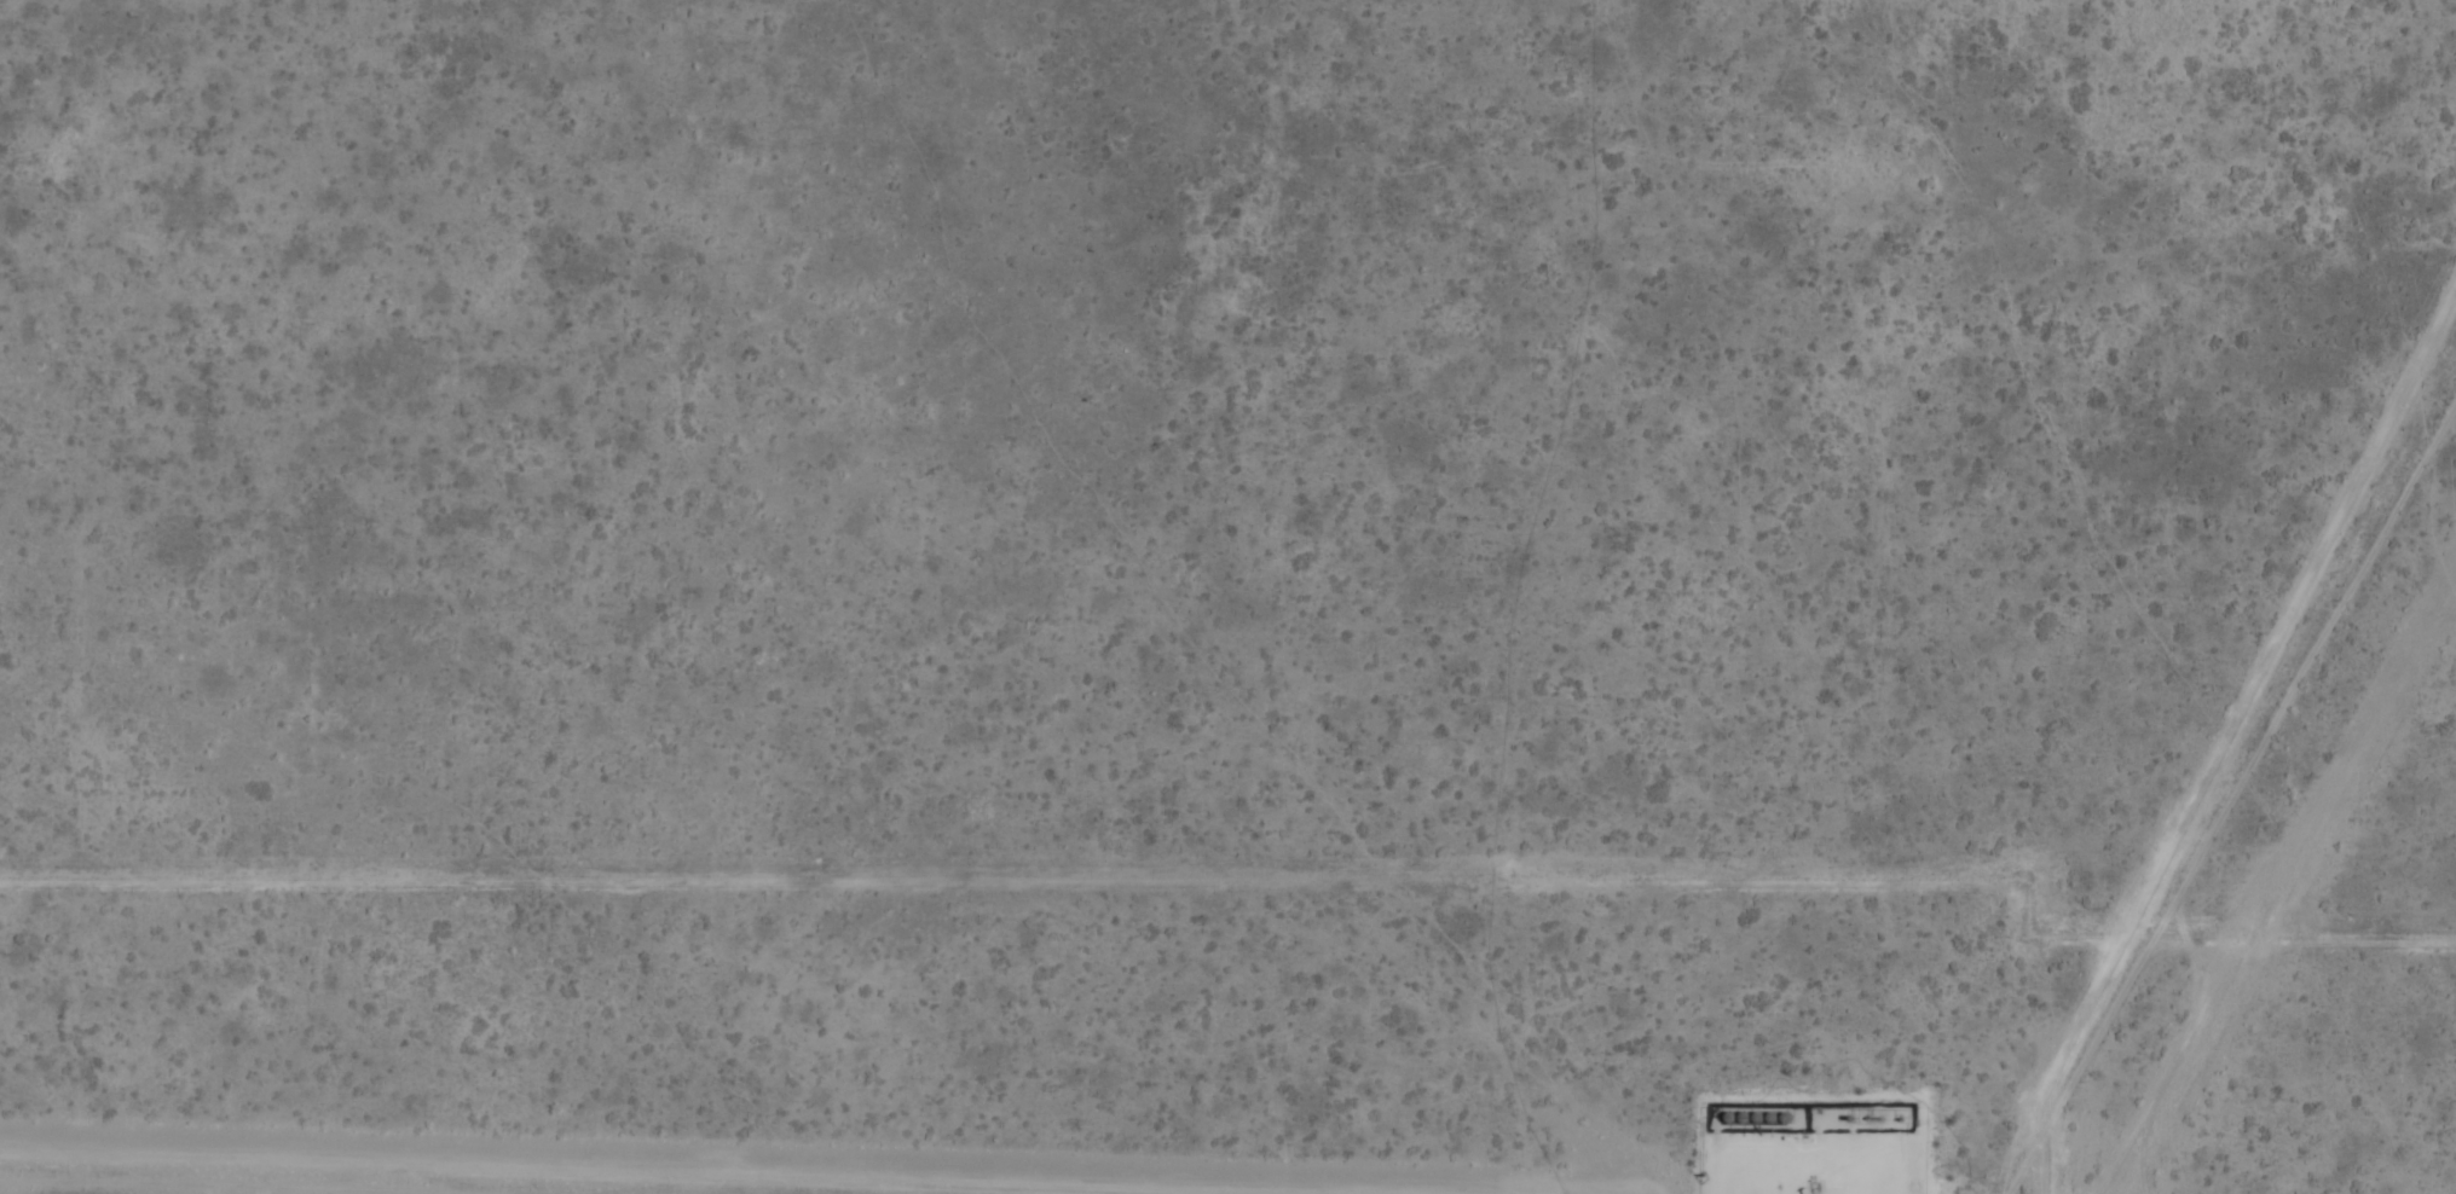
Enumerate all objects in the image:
road: (1729, 1187)

